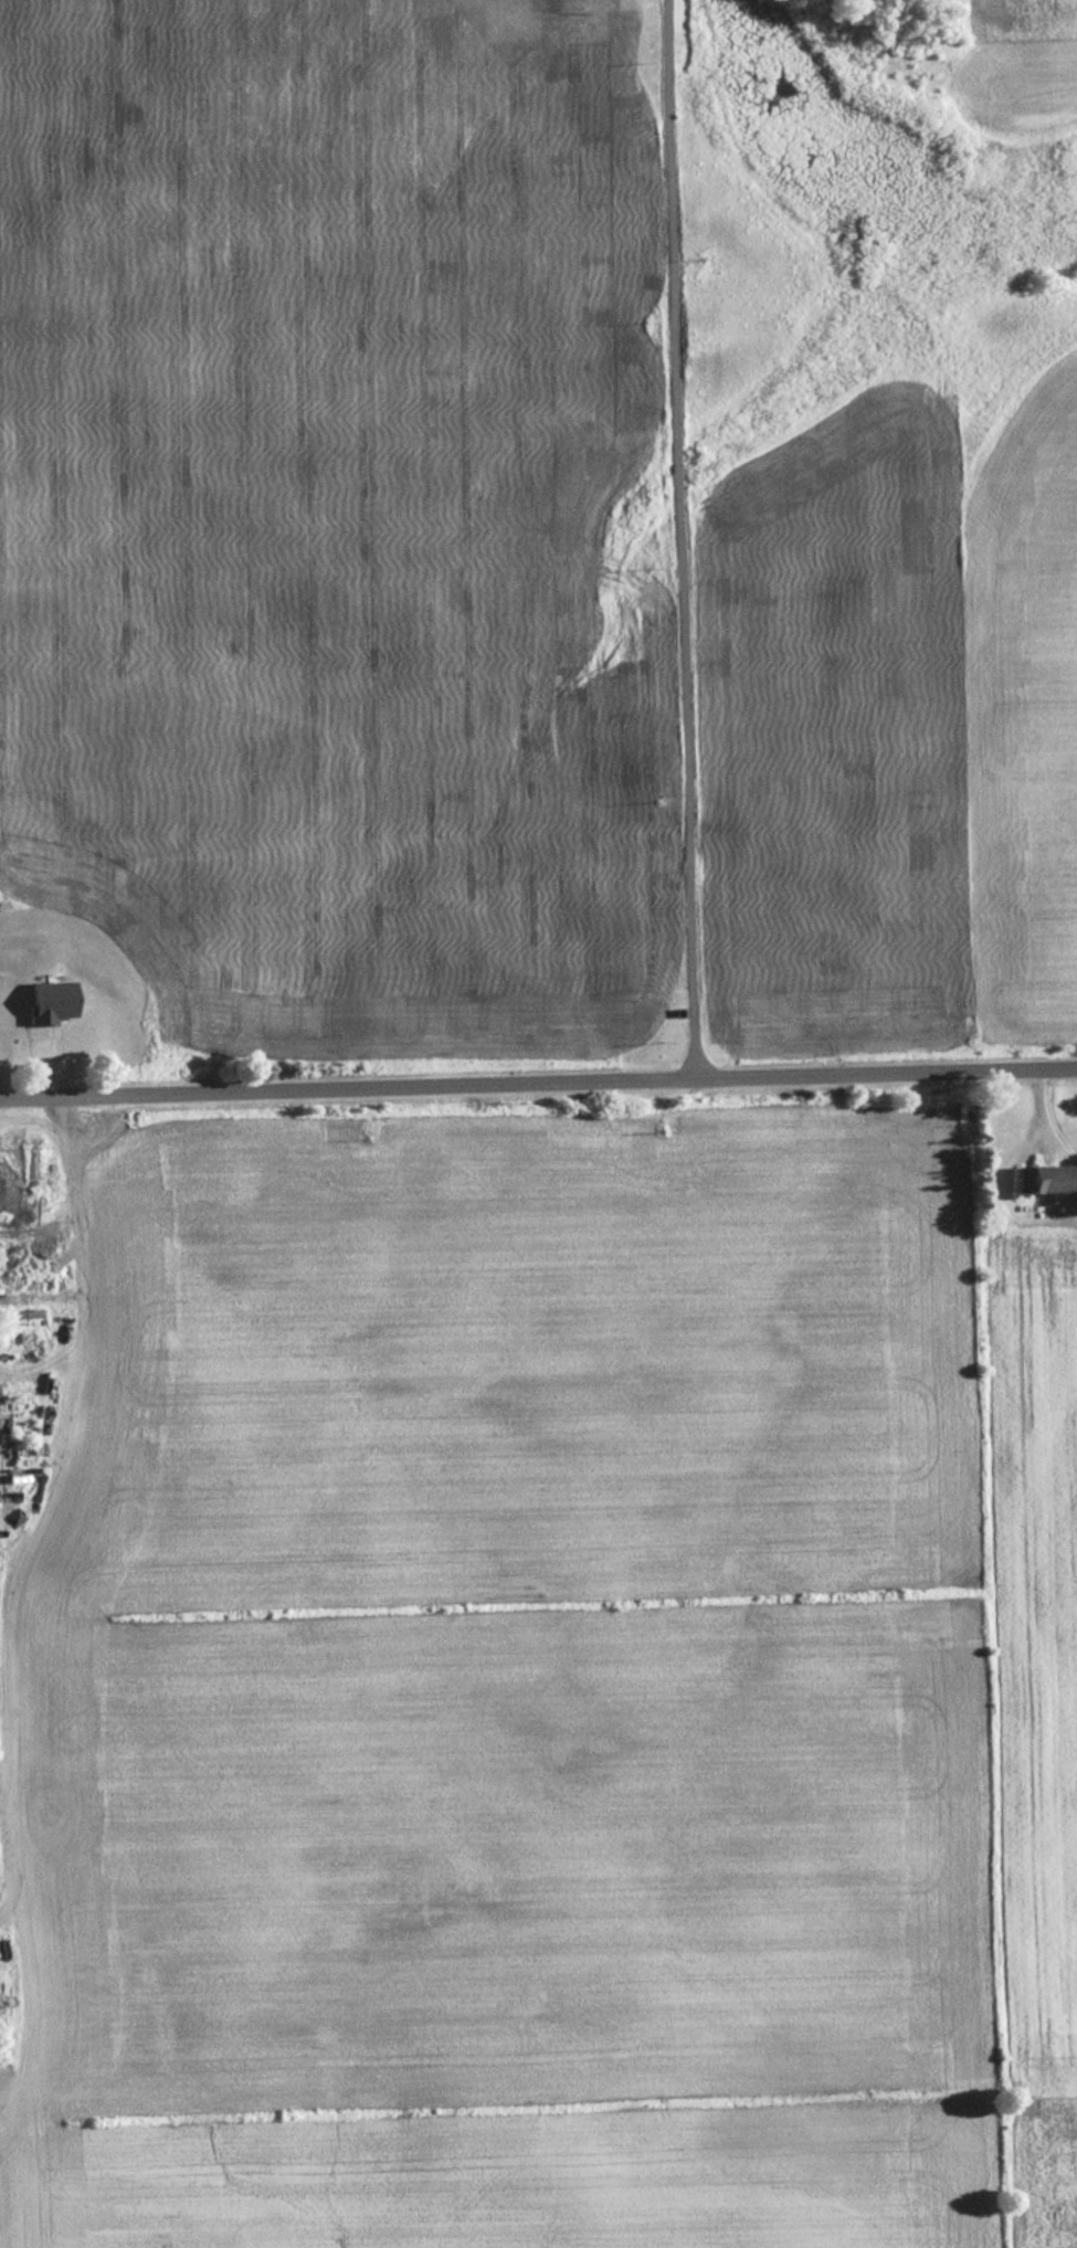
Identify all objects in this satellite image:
road: (680, 539)
road: (538, 1083)
building: (1038, 1178)
building: (25, 1614)

